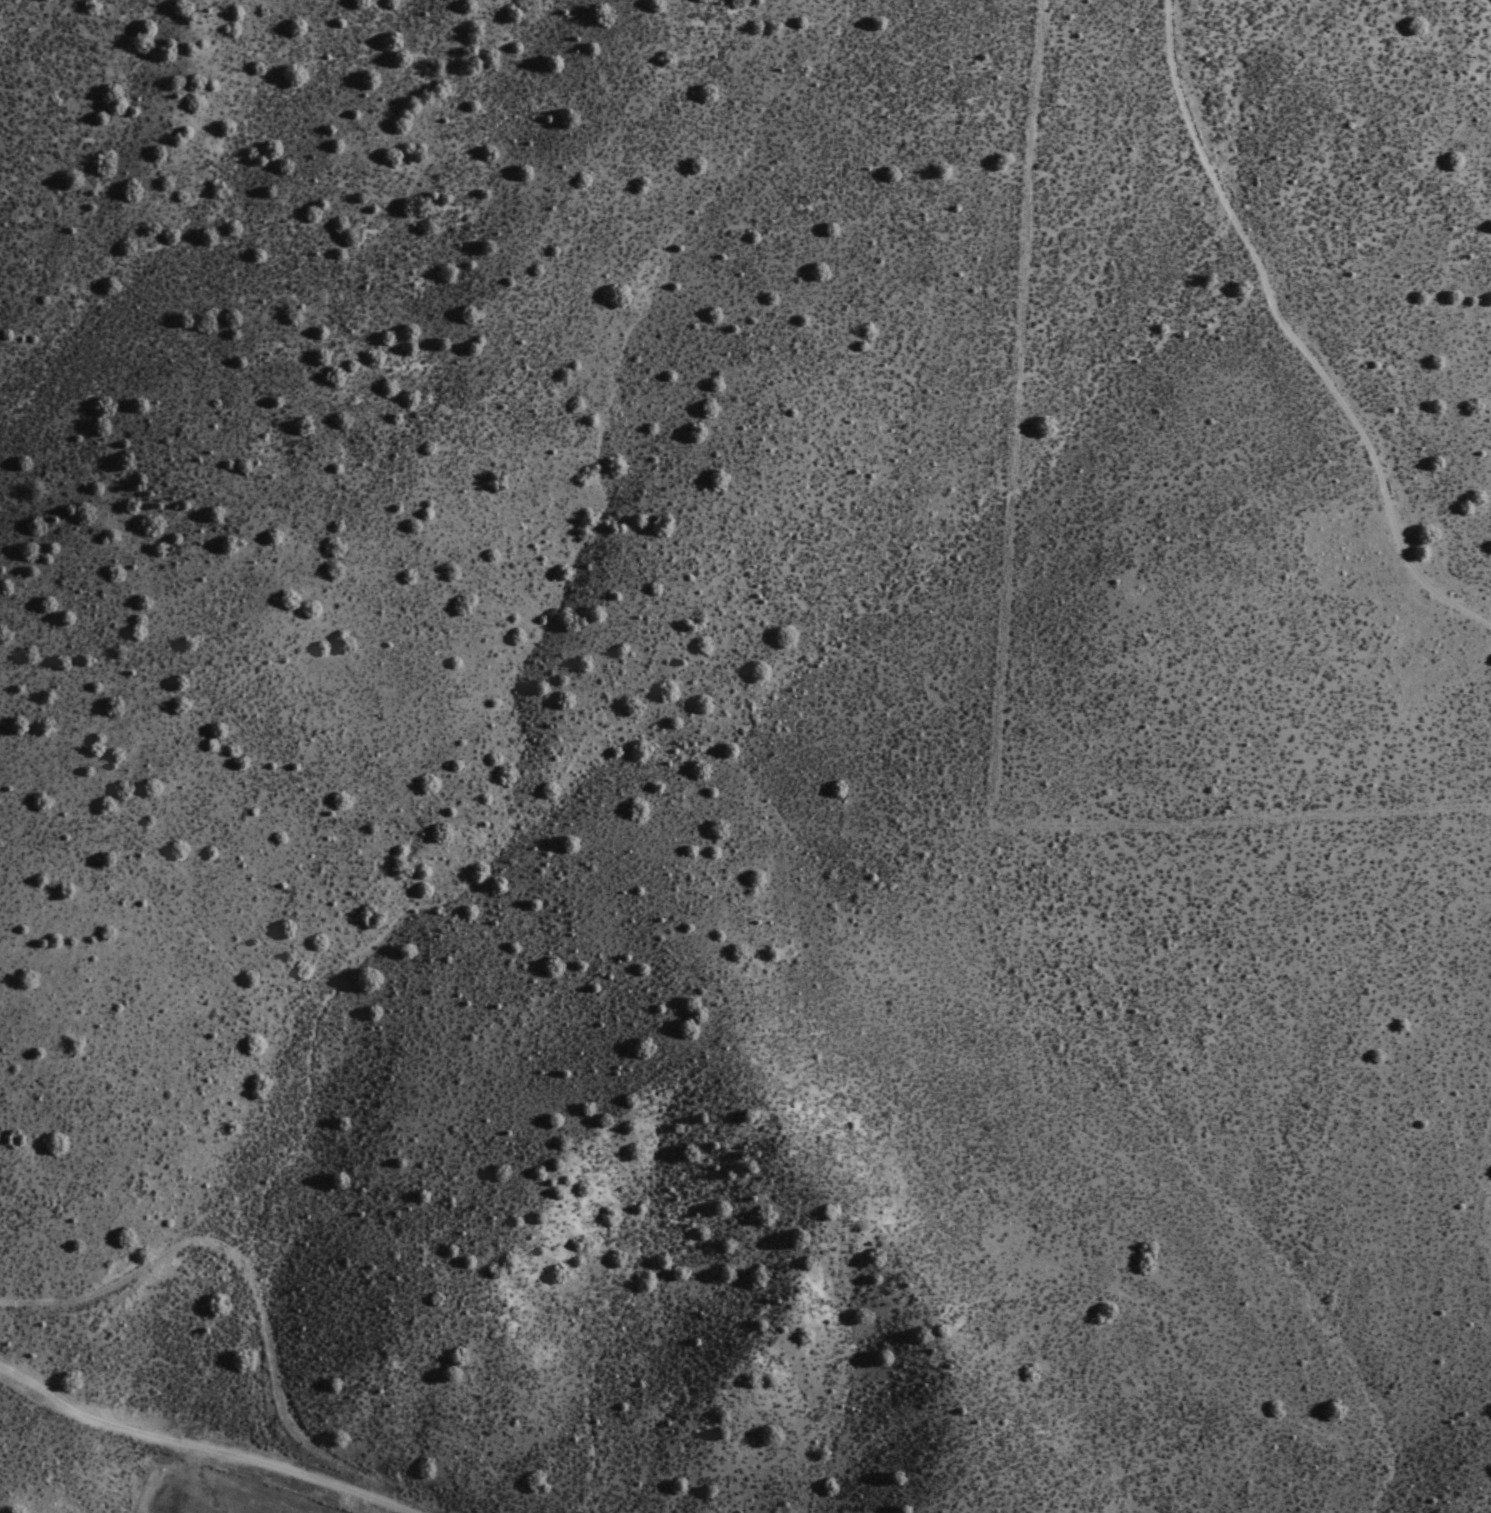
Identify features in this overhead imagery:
road: (1284, 331)
road: (350, 1410)
road: (1420, 1491)

